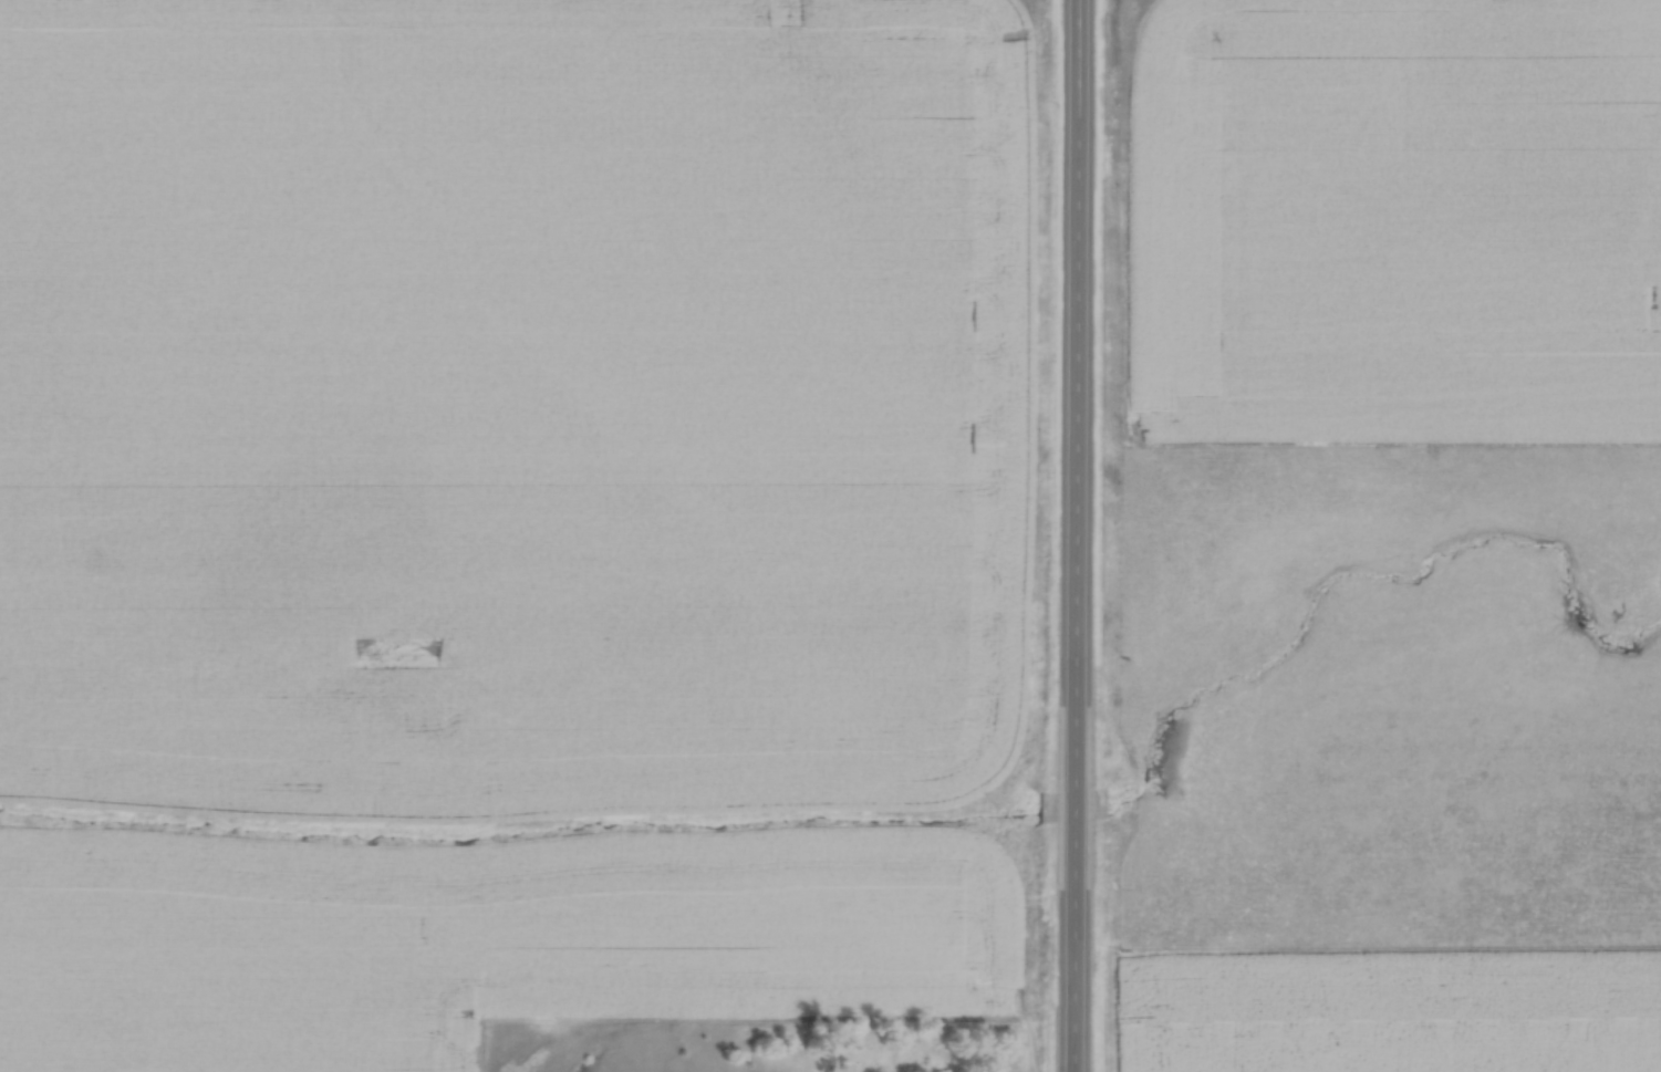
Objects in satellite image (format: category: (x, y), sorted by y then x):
road: (1075, 391)
road: (1072, 798)
road: (1072, 943)

